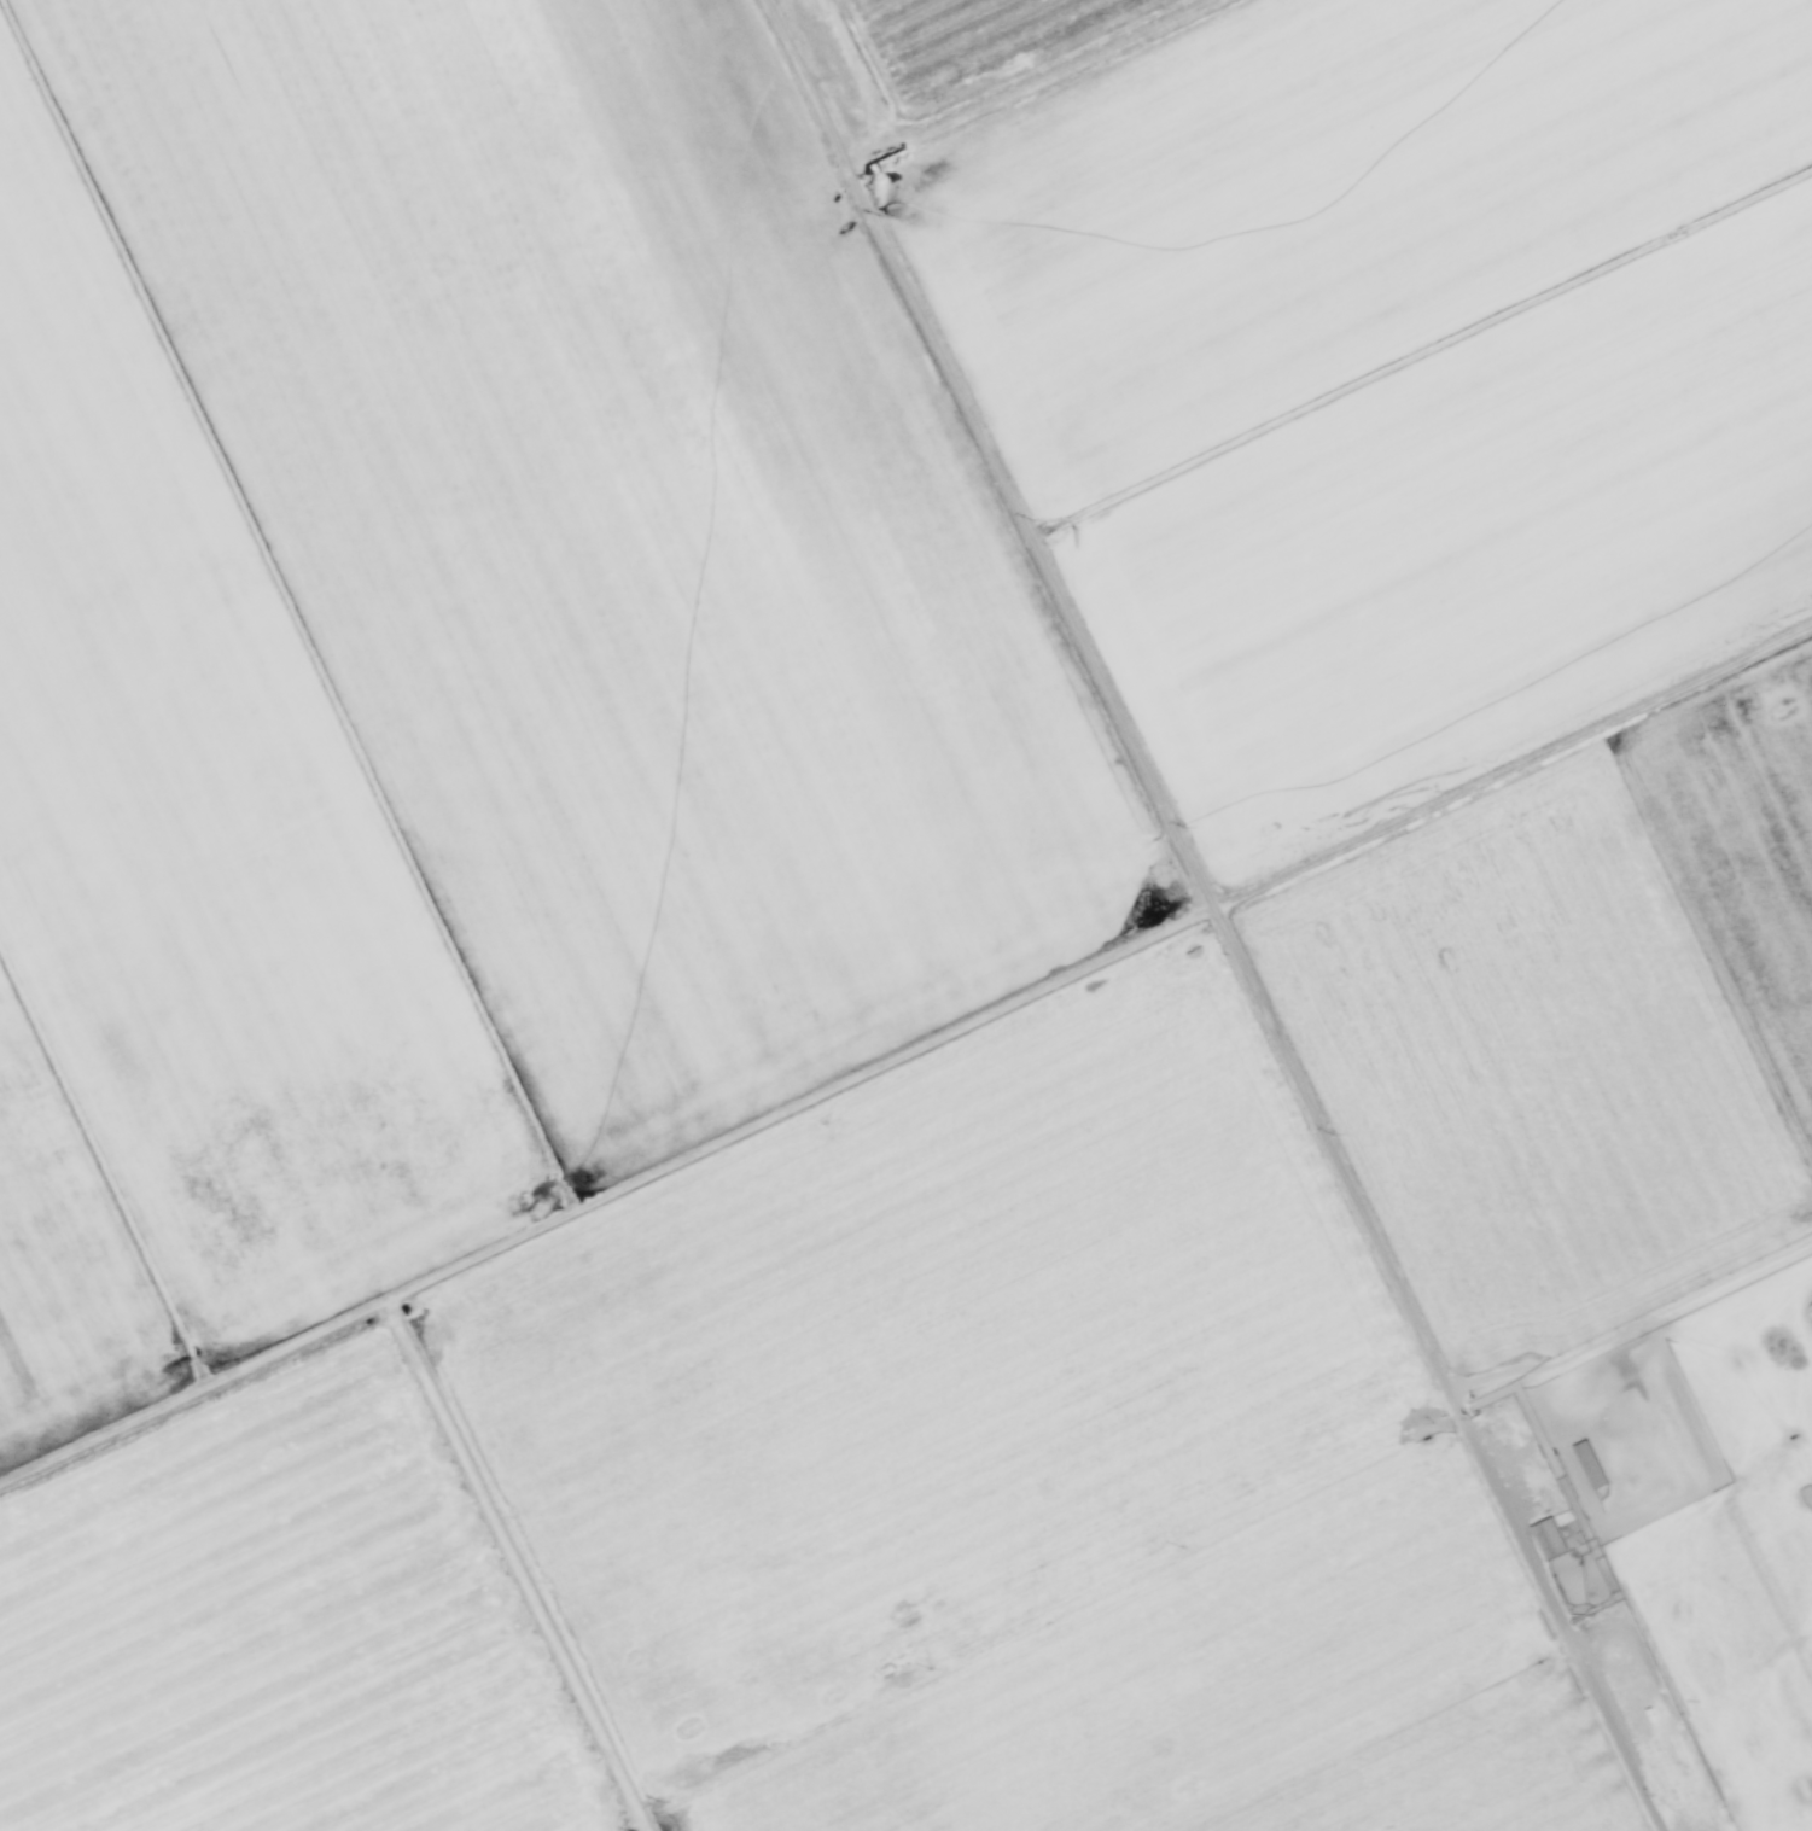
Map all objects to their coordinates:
building: (1590, 1466)
building: (1549, 1540)
road: (1555, 1613)

